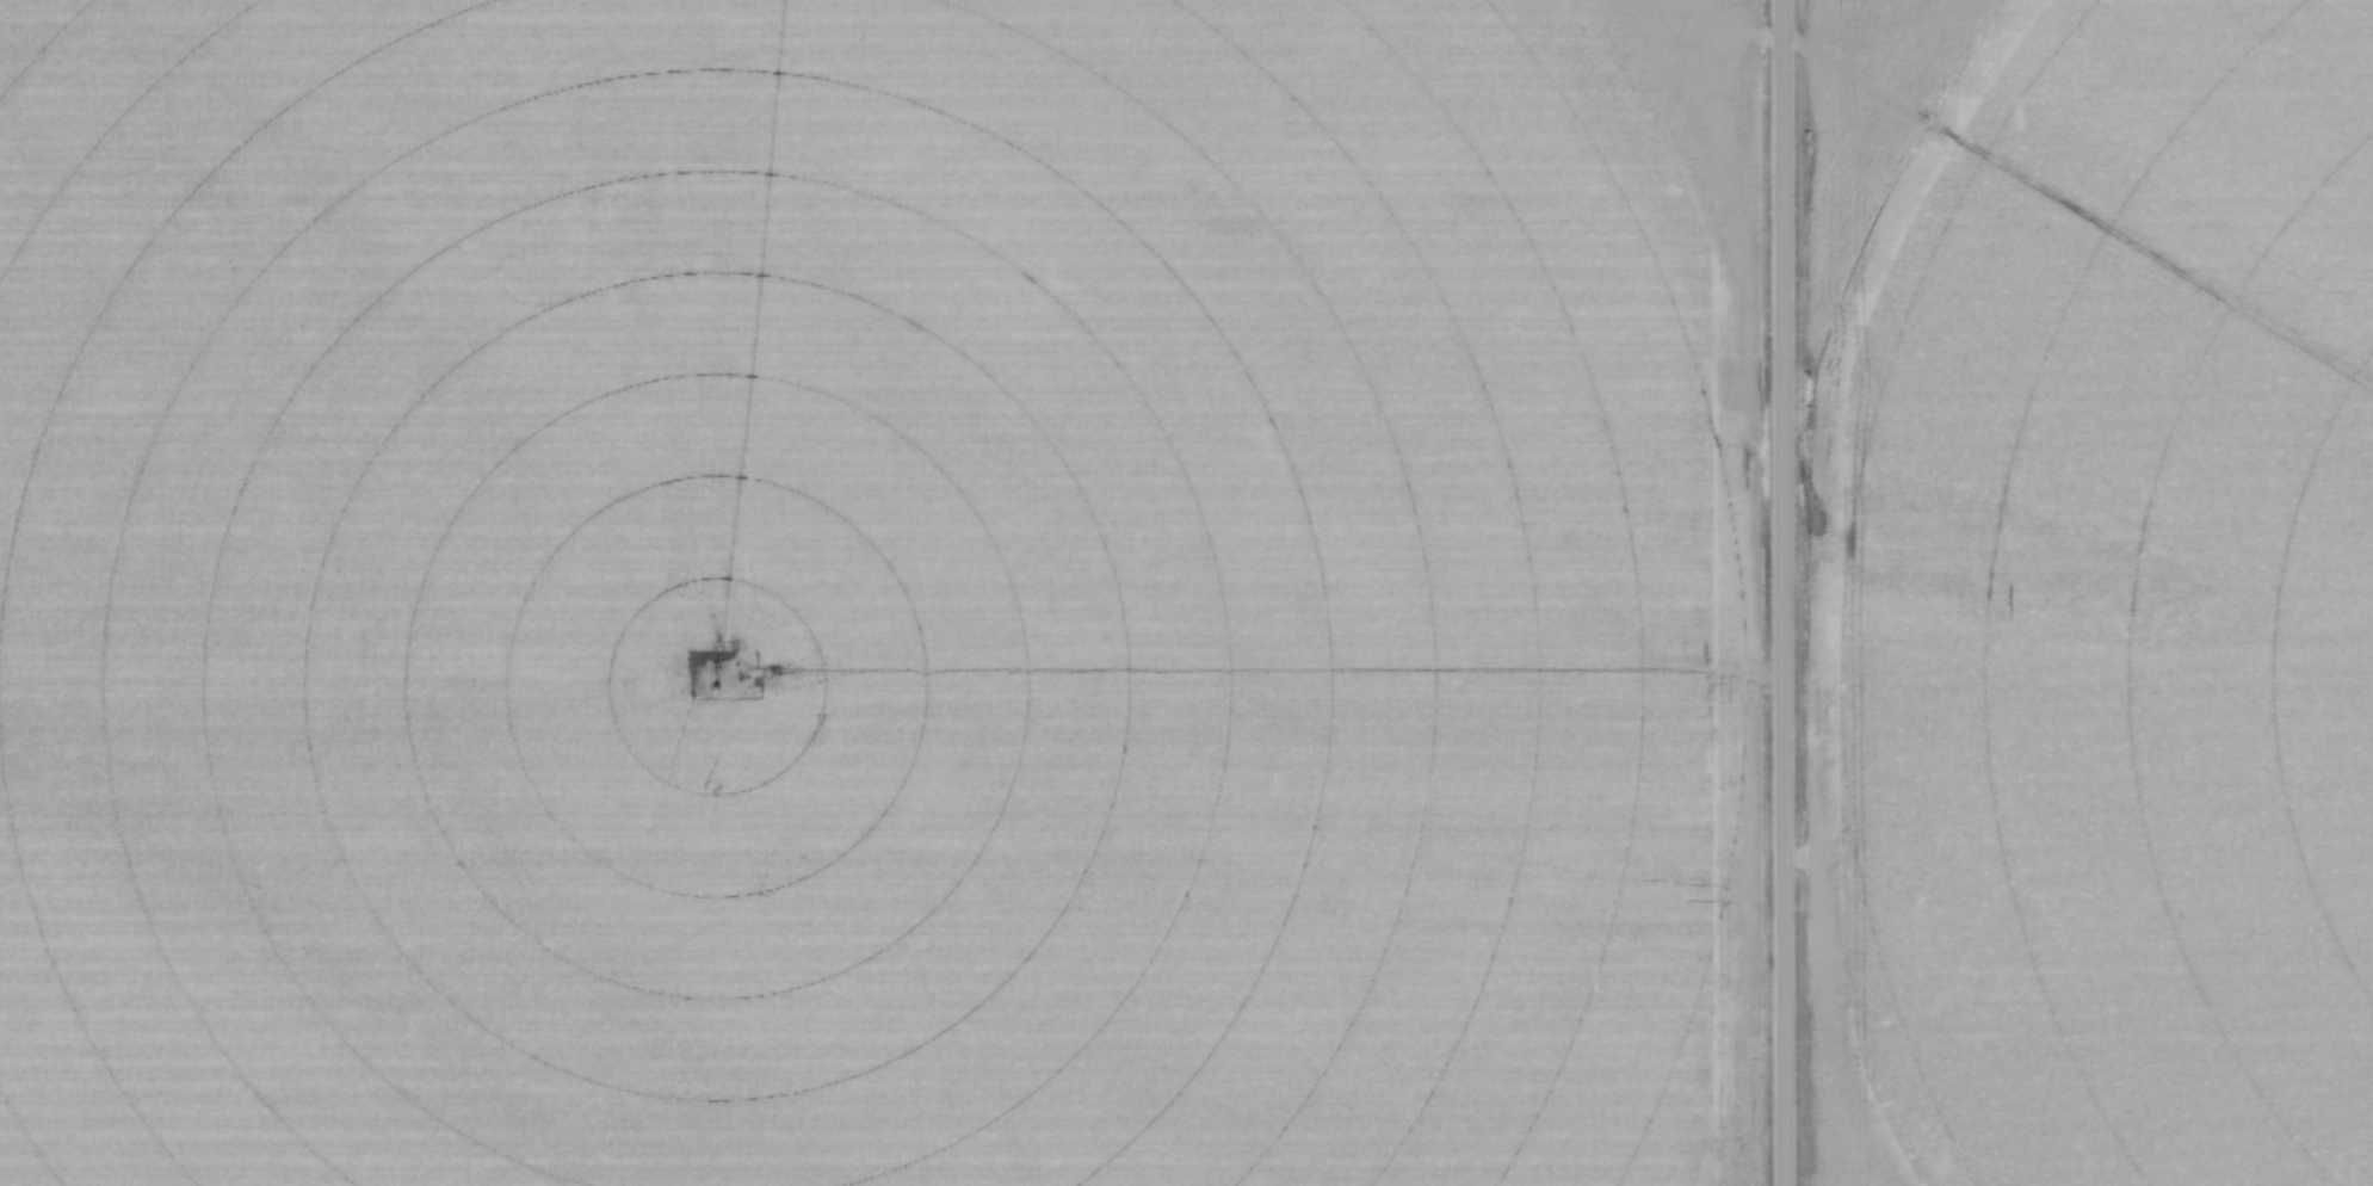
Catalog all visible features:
crop: (882, 592)
road: (1786, 593)

